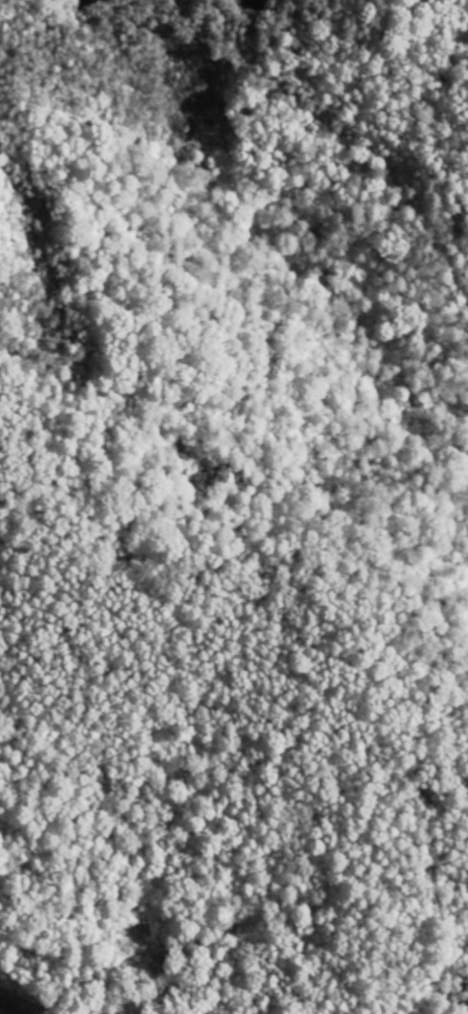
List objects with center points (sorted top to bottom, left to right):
railway: (15, 1006)

